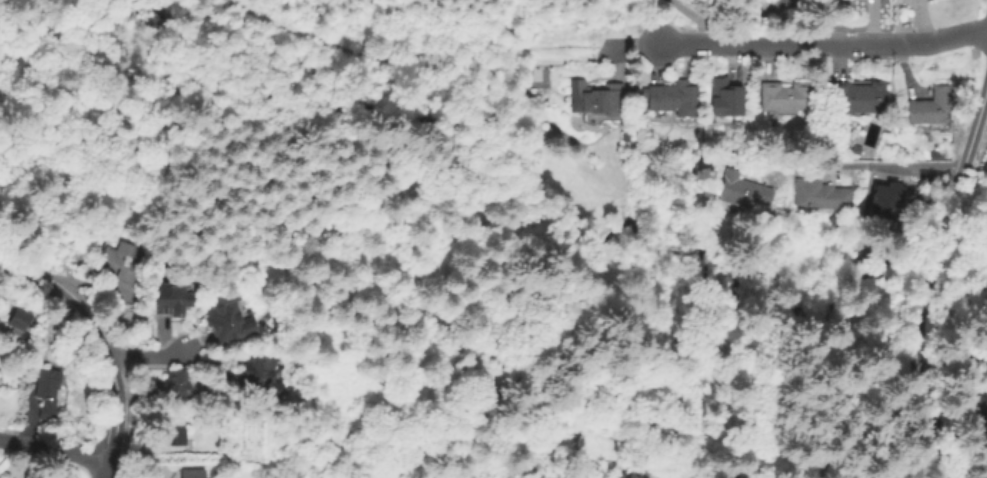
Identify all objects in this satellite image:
road: (796, 44)
road: (416, 56)
building: (726, 92)
building: (785, 95)
building: (594, 96)
building: (672, 96)
building: (857, 96)
building: (929, 105)
building: (933, 155)
road: (868, 164)
building: (742, 190)
building: (820, 194)
building: (885, 201)
building: (112, 257)
road: (927, 284)
building: (172, 296)
building: (22, 315)
building: (229, 320)
road: (89, 341)
road: (142, 357)
building: (260, 377)
building: (178, 384)
building: (43, 392)
building: (979, 402)
building: (161, 421)
building: (173, 436)
road: (52, 449)
road: (102, 469)
building: (191, 472)

